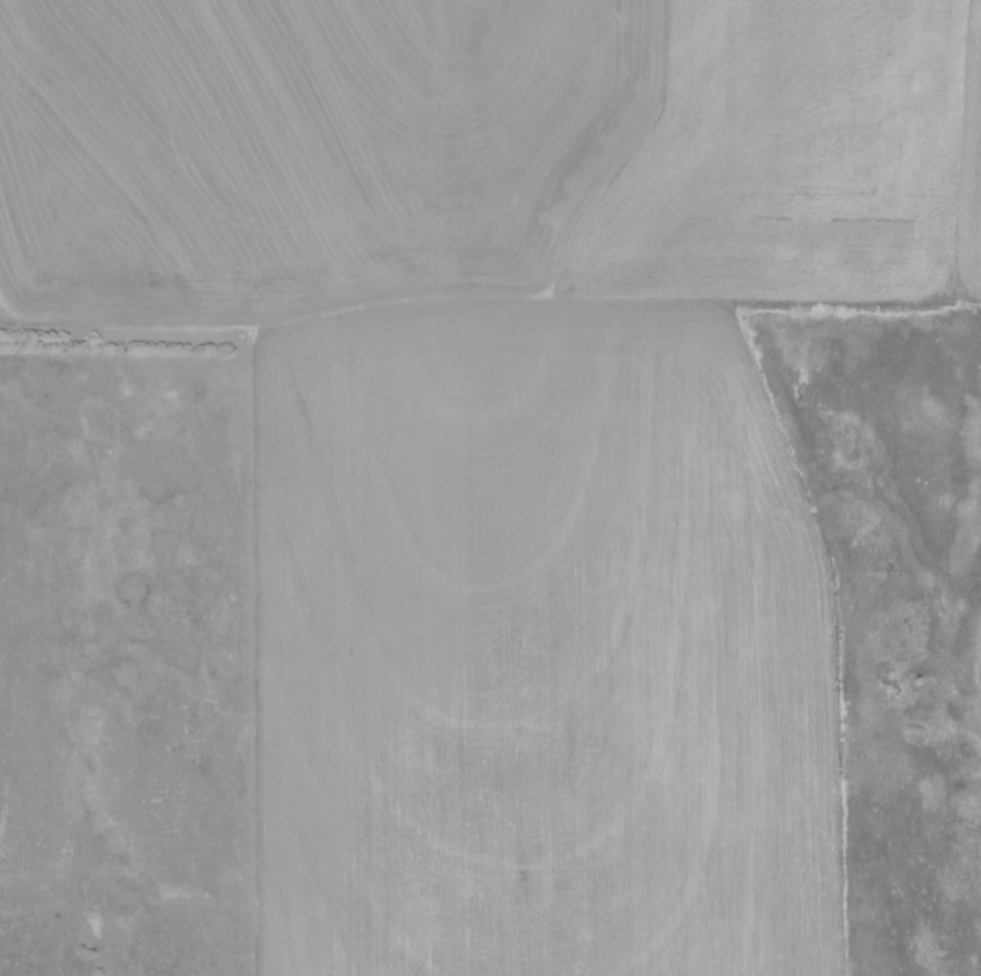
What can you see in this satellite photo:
crop: (309, 146)

